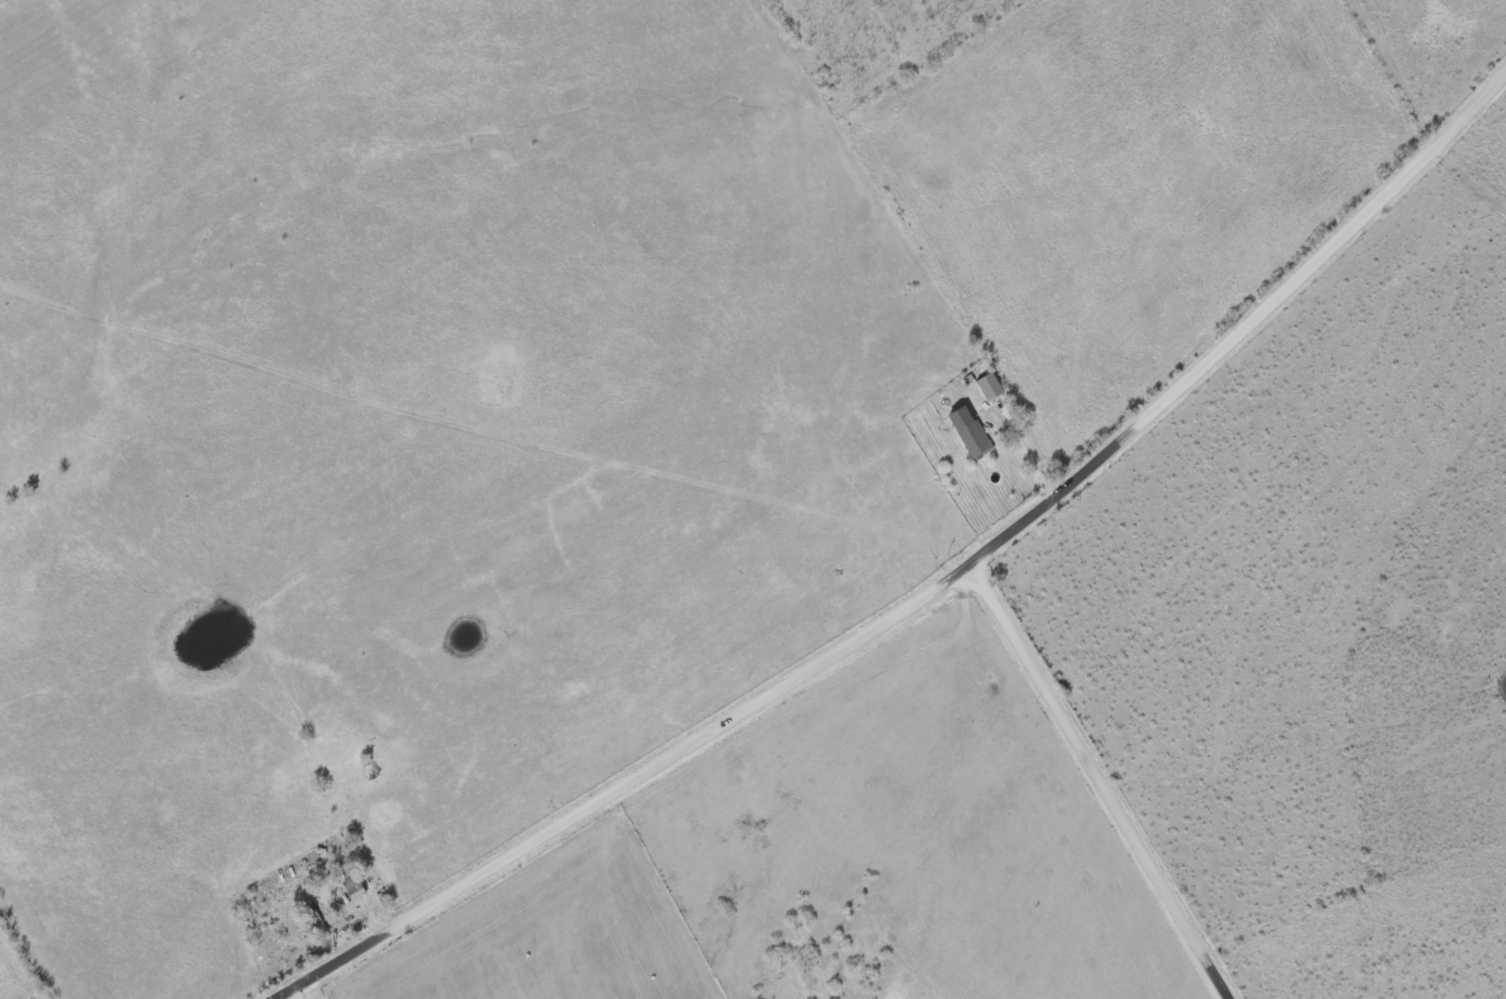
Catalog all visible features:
building: (970, 433)
road: (938, 594)
road: (1104, 786)

